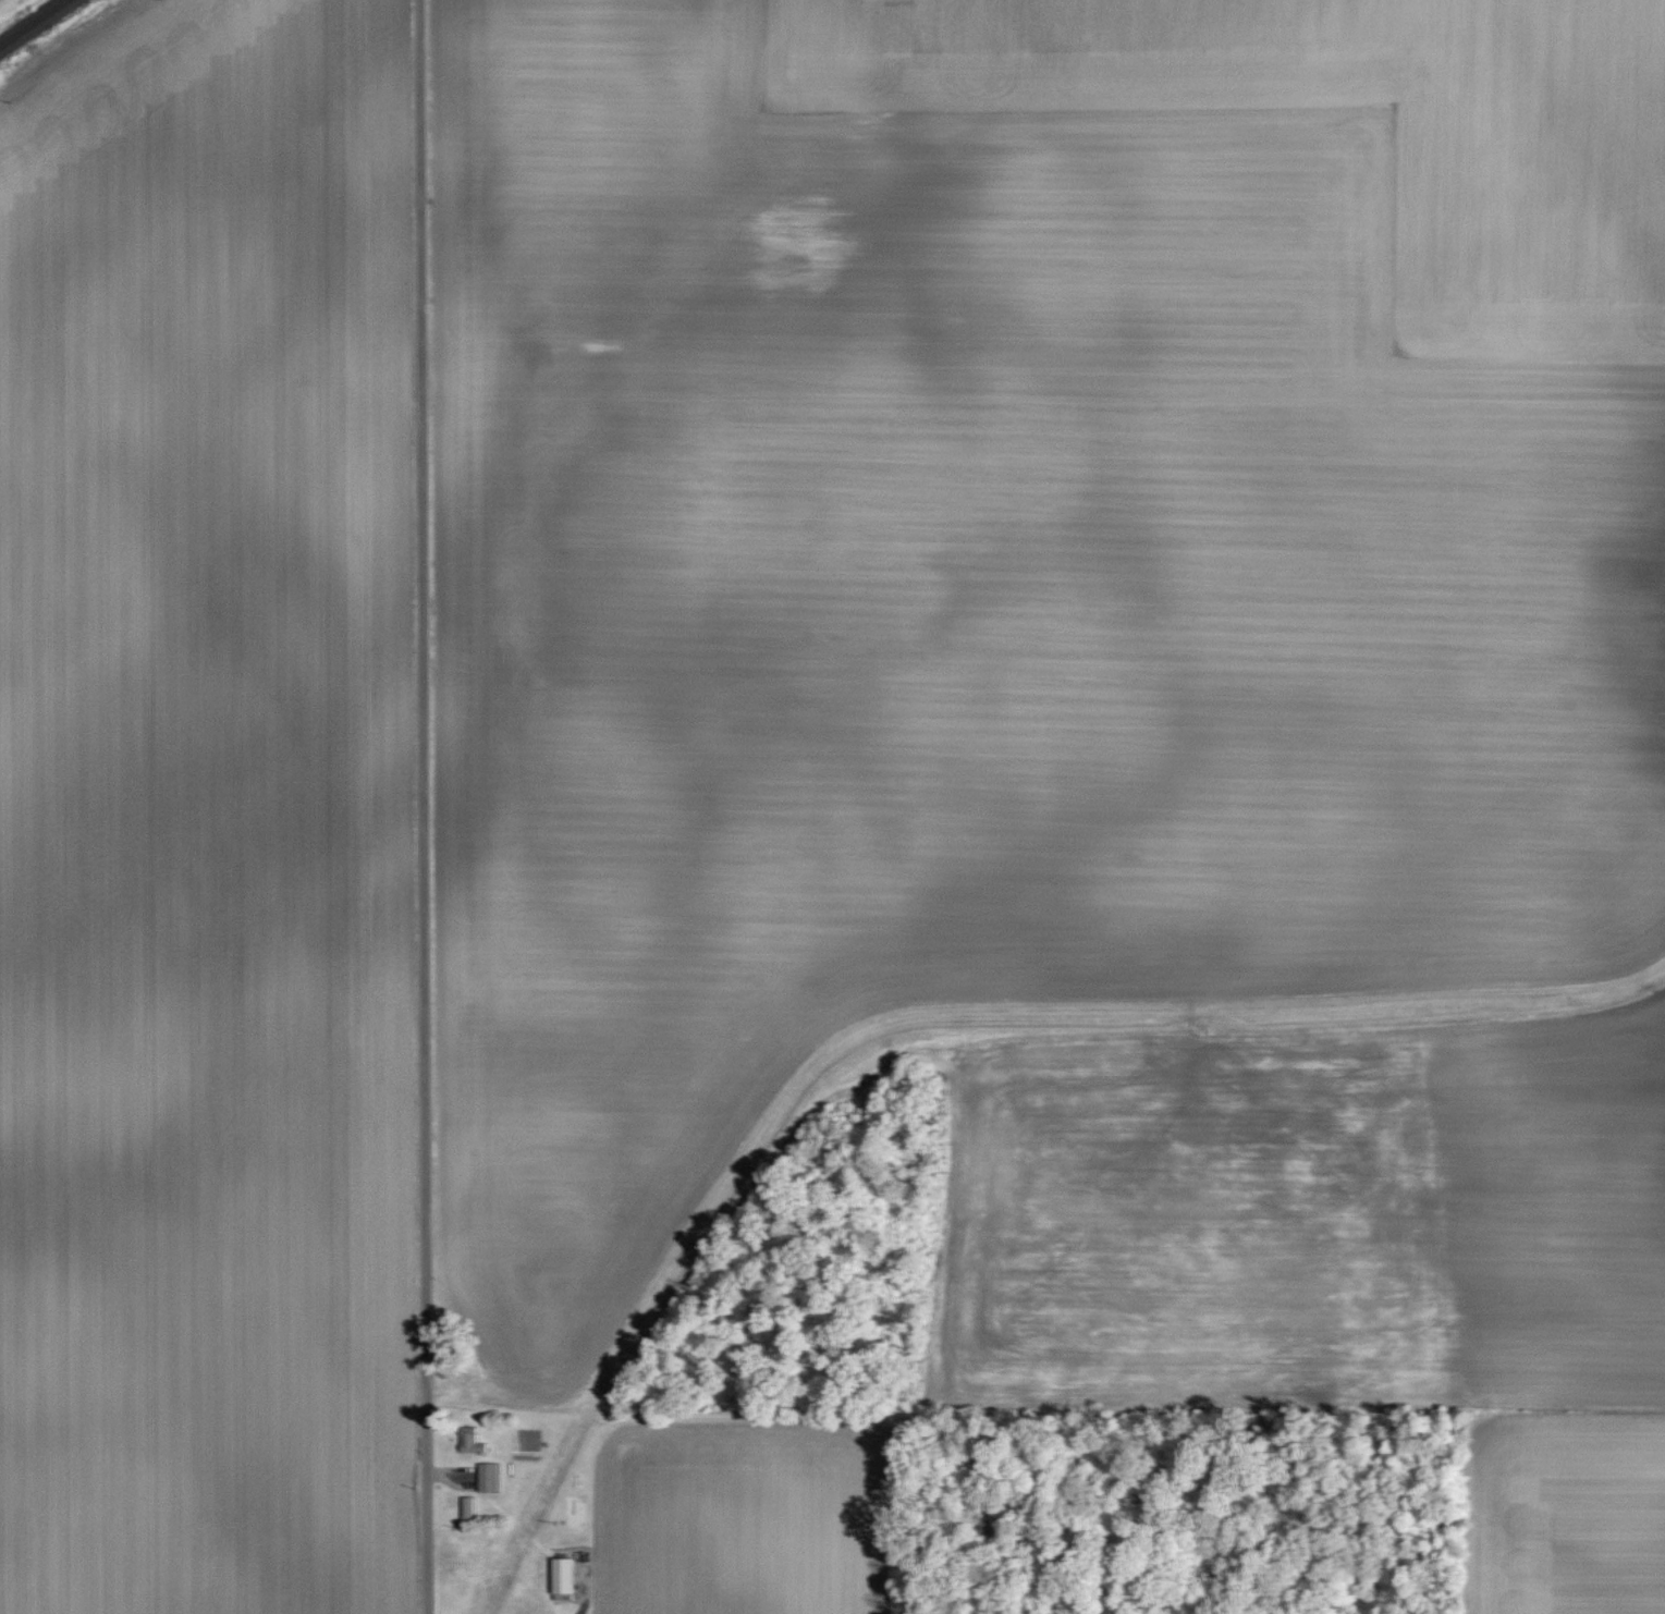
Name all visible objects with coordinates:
railway: (34, 23)
road: (421, 807)
building: (468, 1440)
building: (487, 1477)
building: (466, 1506)
building: (560, 1575)
road: (586, 1592)

